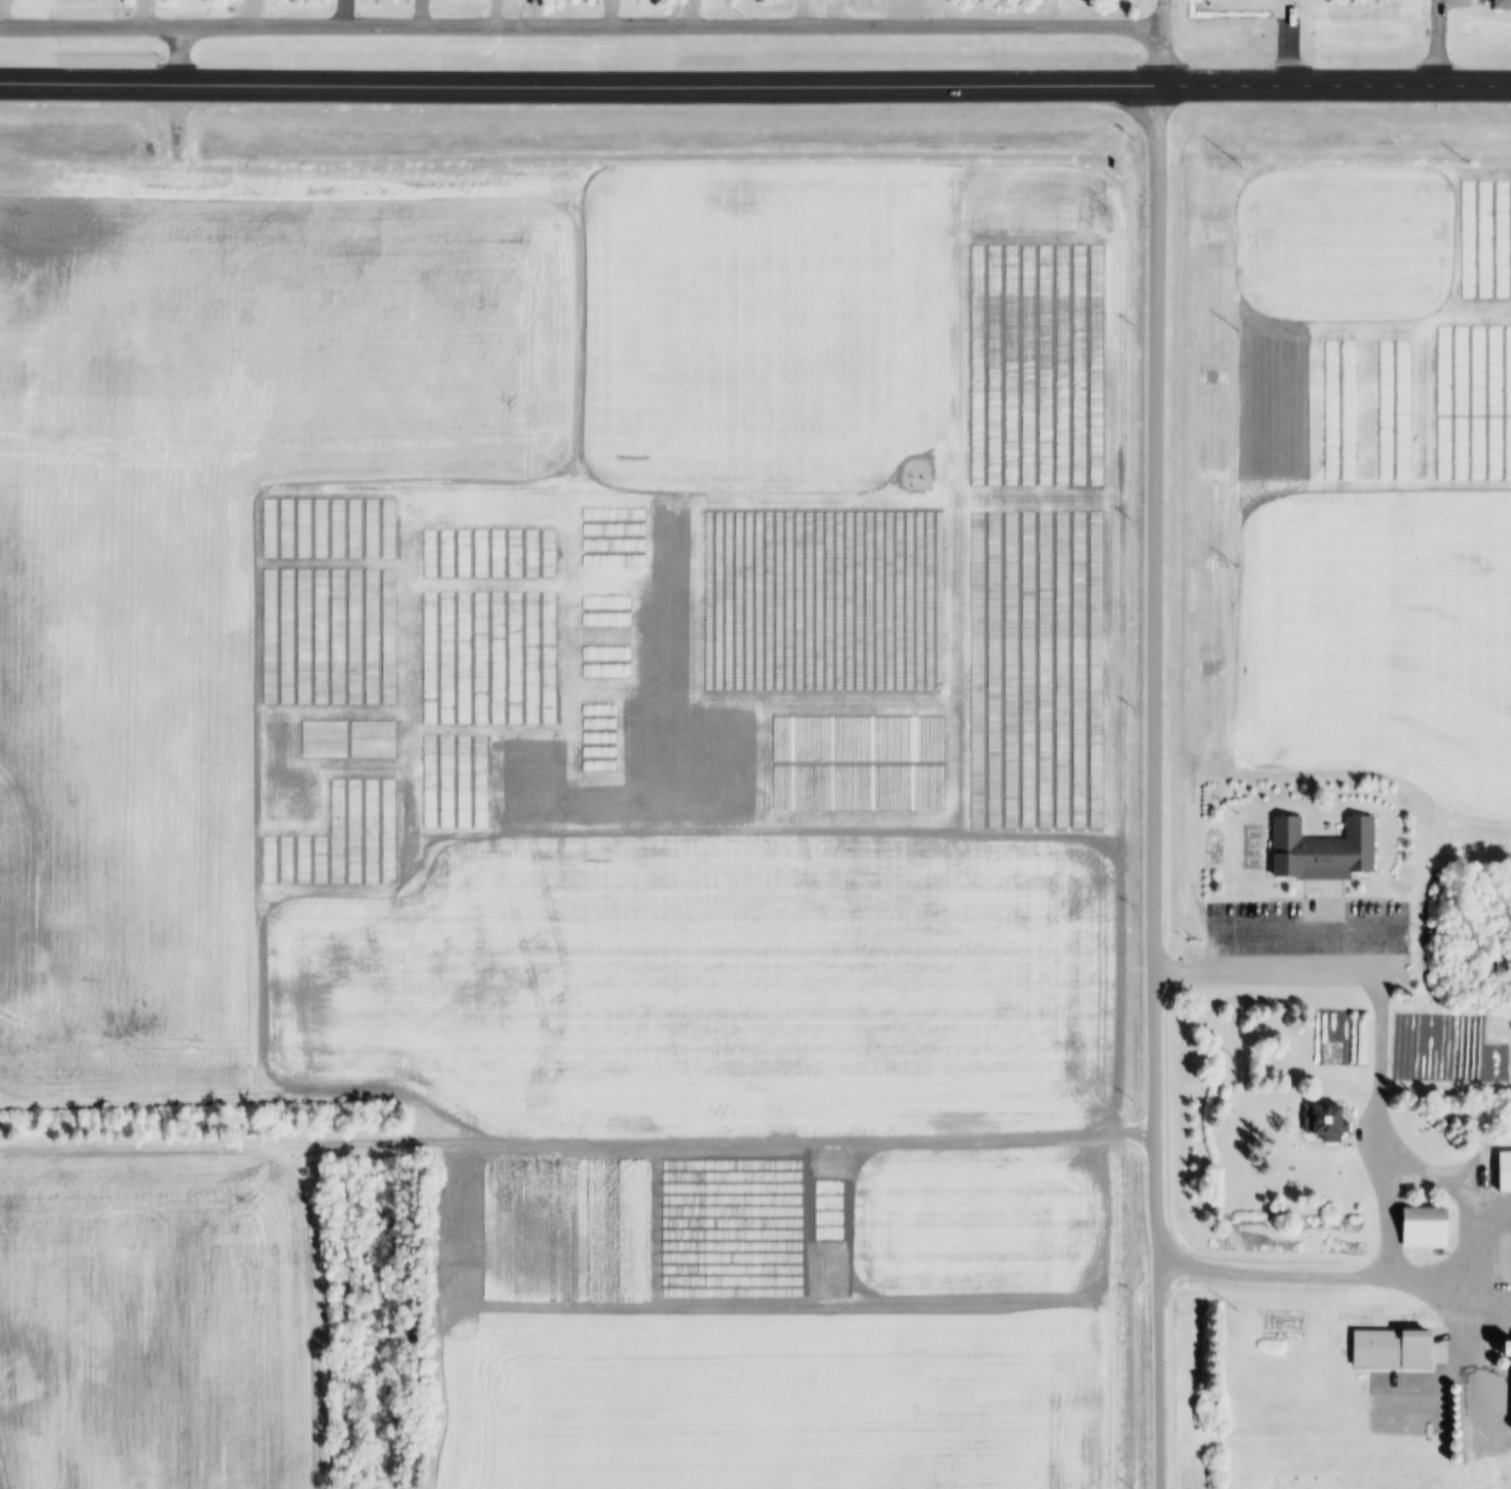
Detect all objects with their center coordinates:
building: (1503, 4)
road: (835, 14)
road: (952, 14)
road: (580, 28)
road: (1160, 43)
road: (1439, 43)
road: (177, 55)
road: (719, 83)
road: (1474, 87)
road: (176, 126)
road: (1159, 787)
building: (1326, 850)
building: (1328, 1121)
road: (568, 1140)
road: (219, 1145)
road: (1405, 1169)
building: (1506, 1171)
building: (1426, 1227)
road: (1335, 1275)
road: (322, 1313)
building: (1495, 1359)
silo: (1495, 1359)
building: (1505, 1363)
silo: (1505, 1363)
building: (1458, 1388)
silo: (1458, 1388)
building: (1458, 1398)
silo: (1458, 1398)
building: (1459, 1407)
silo: (1459, 1407)
building: (1459, 1415)
silo: (1459, 1415)
building: (1459, 1424)
silo: (1459, 1424)
building: (1459, 1434)
silo: (1459, 1434)
road: (1221, 1440)
building: (1459, 1446)
silo: (1459, 1446)
road: (1484, 1473)

